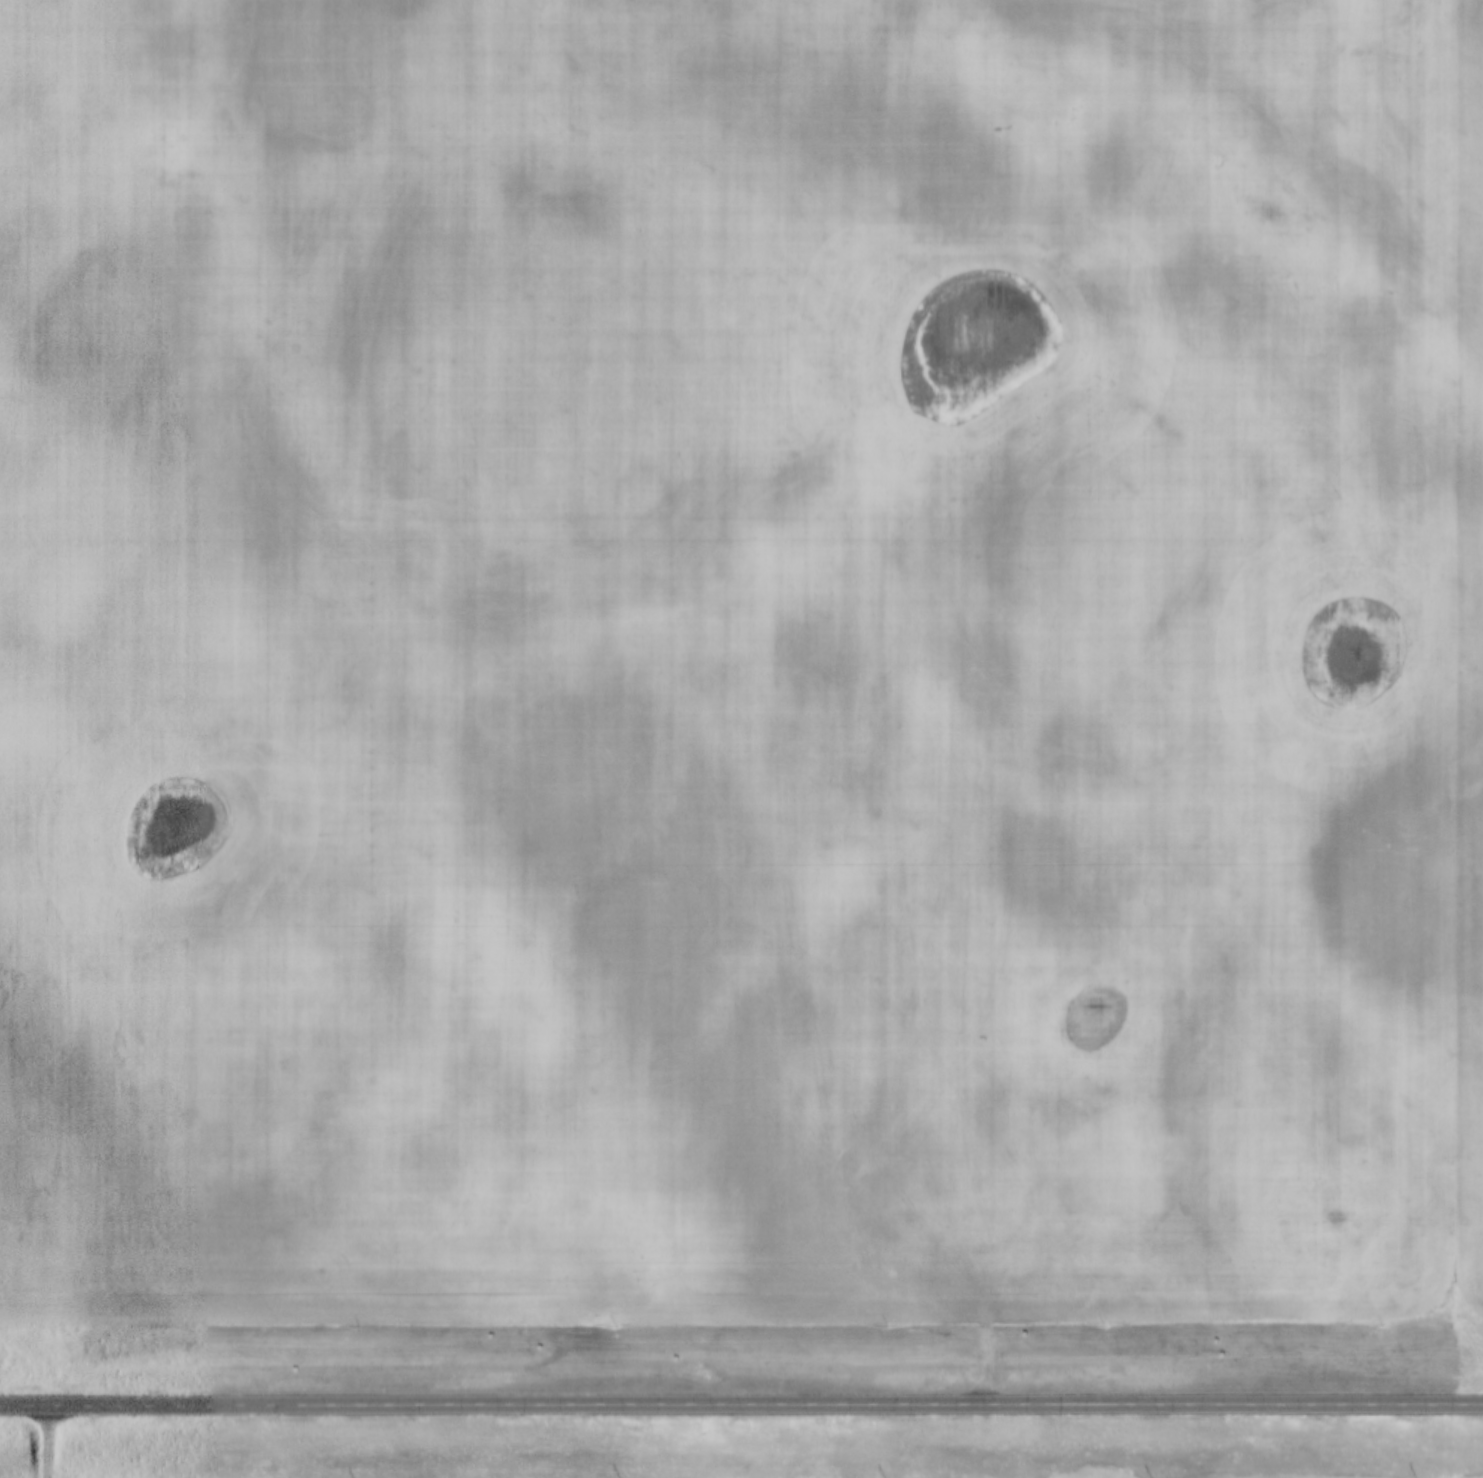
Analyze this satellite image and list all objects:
road: (741, 1402)
road: (46, 1440)

